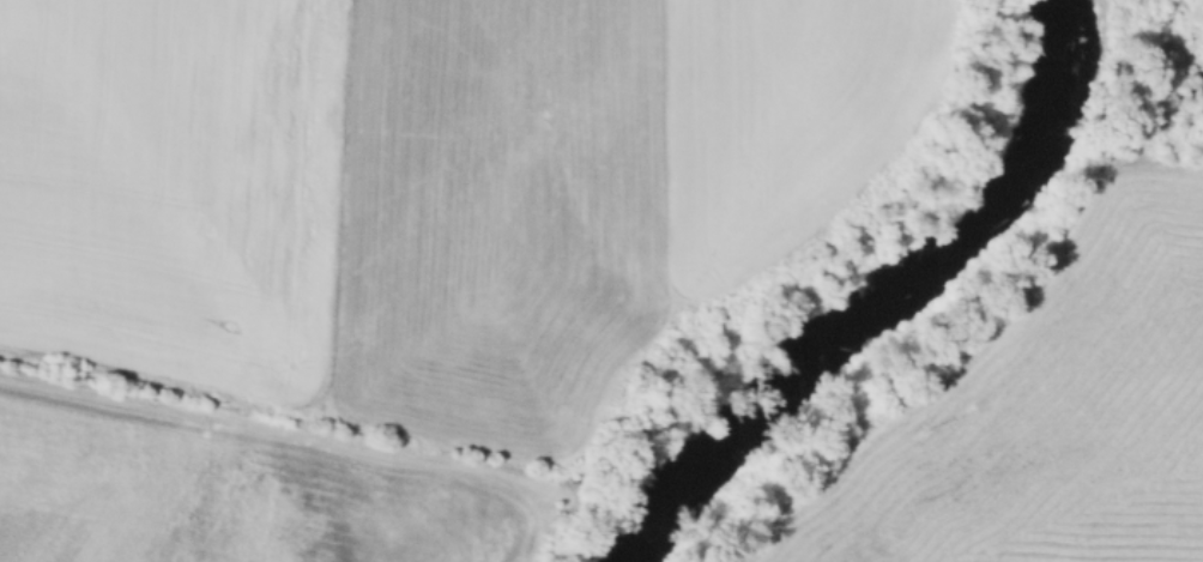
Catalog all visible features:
crop: (418, 185)
river: (879, 308)
road: (284, 430)
crop: (226, 497)

